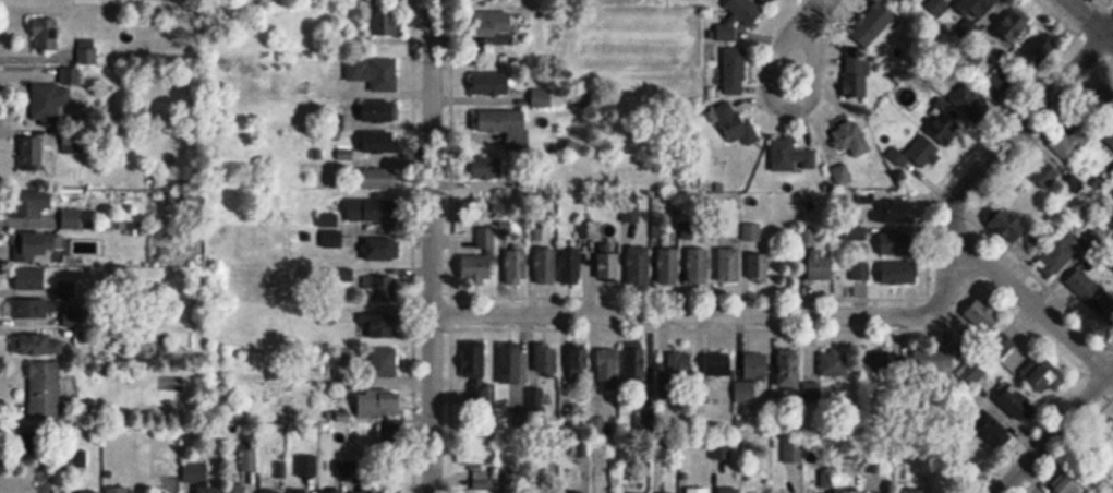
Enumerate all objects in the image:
building: (765, 1)
building: (896, 1)
building: (937, 5)
building: (973, 13)
building: (740, 16)
road: (1090, 20)
building: (493, 22)
building: (873, 23)
building: (386, 24)
building: (1013, 26)
road: (1109, 28)
building: (47, 34)
building: (1038, 50)
road: (795, 58)
building: (735, 71)
building: (374, 73)
building: (857, 77)
building: (1001, 81)
building: (492, 83)
building: (547, 97)
building: (49, 100)
building: (970, 101)
building: (379, 111)
building: (943, 121)
building: (736, 124)
building: (506, 125)
building: (848, 137)
building: (1068, 140)
building: (379, 141)
building: (789, 153)
building: (35, 155)
road: (992, 155)
building: (926, 159)
building: (486, 166)
building: (1044, 172)
building: (377, 178)
building: (33, 204)
building: (372, 211)
building: (894, 211)
building: (1013, 227)
building: (750, 232)
building: (896, 243)
road: (430, 245)
building: (32, 246)
building: (379, 249)
building: (1060, 253)
building: (484, 262)
building: (758, 263)
building: (517, 264)
building: (729, 264)
building: (546, 265)
building: (570, 265)
building: (639, 265)
building: (668, 265)
building: (699, 265)
building: (820, 265)
building: (606, 266)
building: (861, 270)
building: (900, 273)
building: (31, 278)
building: (377, 285)
building: (1092, 293)
road: (1032, 304)
building: (29, 310)
road: (683, 313)
building: (985, 313)
building: (383, 326)
building: (39, 345)
building: (1009, 349)
building: (547, 360)
building: (383, 362)
building: (511, 363)
building: (580, 363)
building: (834, 363)
building: (882, 363)
building: (636, 364)
building: (717, 364)
building: (607, 365)
building: (675, 368)
building: (788, 368)
building: (476, 371)
building: (972, 373)
building: (1047, 374)
building: (751, 376)
building: (44, 390)
building: (812, 392)
building: (1016, 402)
building: (379, 405)
road: (1054, 430)
building: (992, 432)
building: (391, 434)
building: (35, 443)
building: (793, 452)
building: (196, 473)
building: (825, 480)
building: (481, 481)
building: (1067, 485)
building: (240, 489)
building: (118, 490)
building: (363, 490)
building: (392, 490)
building: (698, 490)
building: (209, 491)
building: (302, 491)
building: (334, 491)
building: (729, 491)
building: (914, 491)
building: (29, 492)
building: (89, 492)
building: (271, 492)
building: (572, 492)

